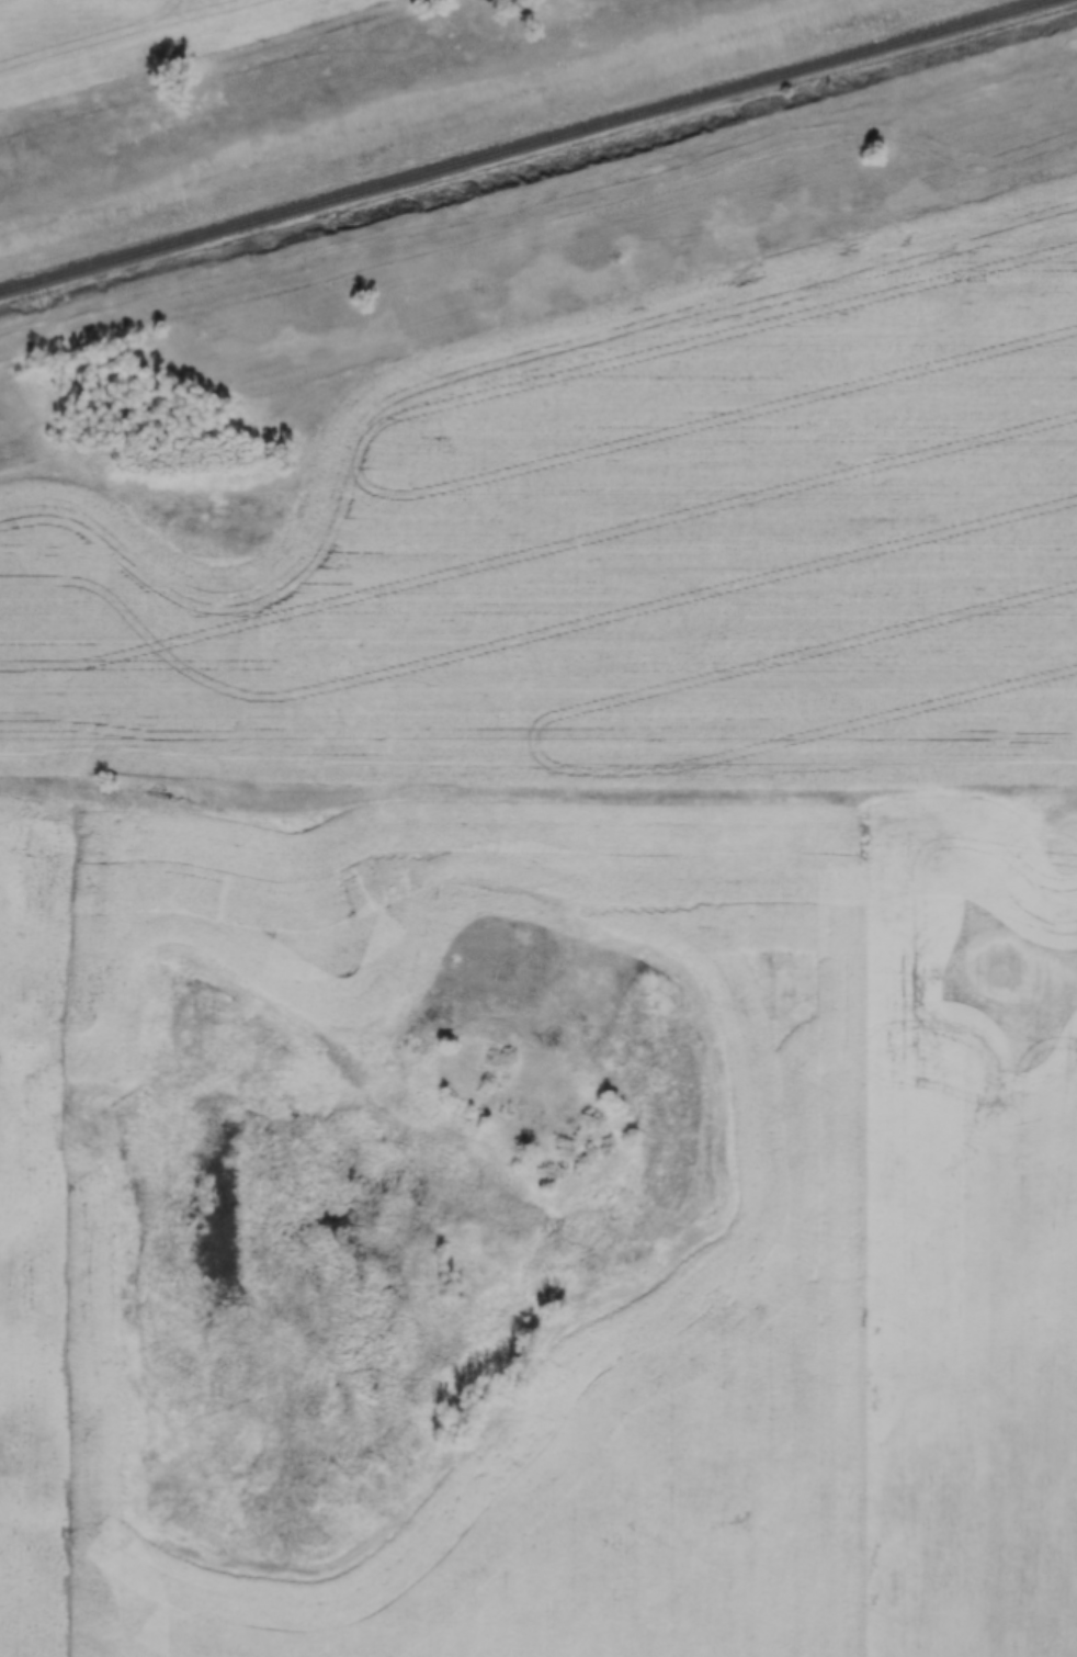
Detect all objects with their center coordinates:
railway: (538, 160)

